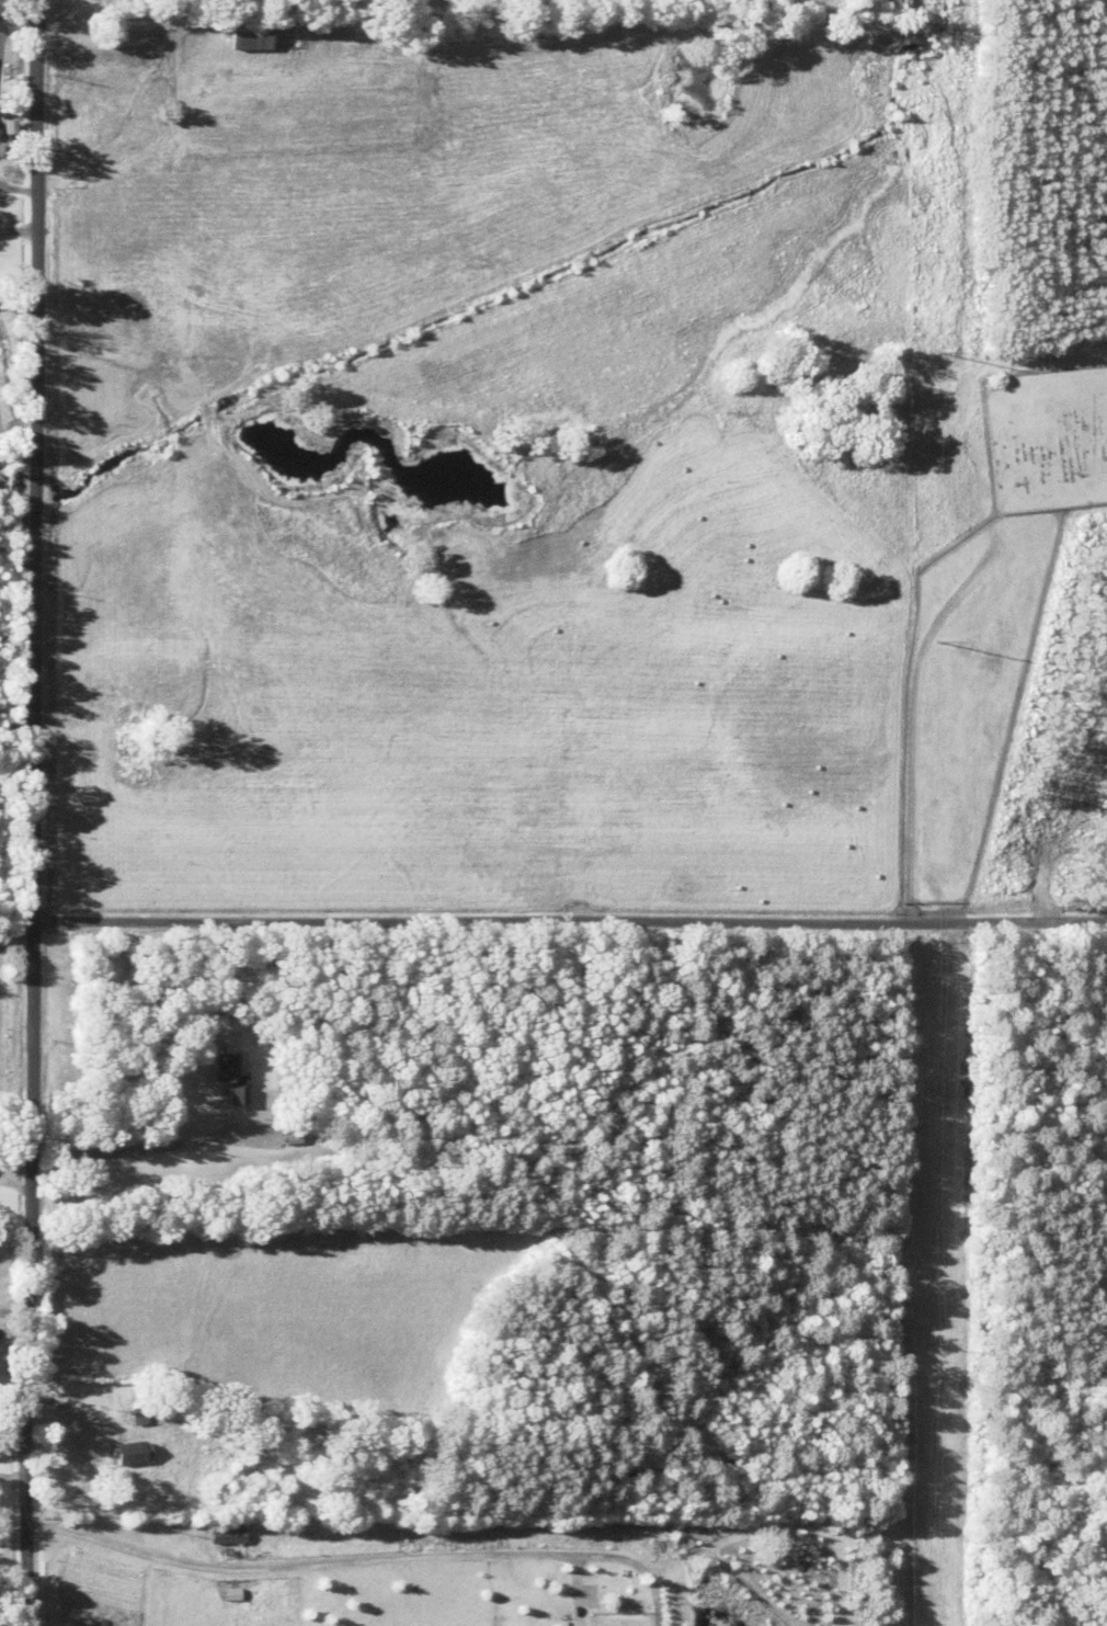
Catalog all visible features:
building: (244, 33)
road: (909, 719)
road: (35, 812)
road: (572, 952)
building: (227, 1077)
building: (134, 1415)
building: (127, 1452)
building: (224, 1531)

